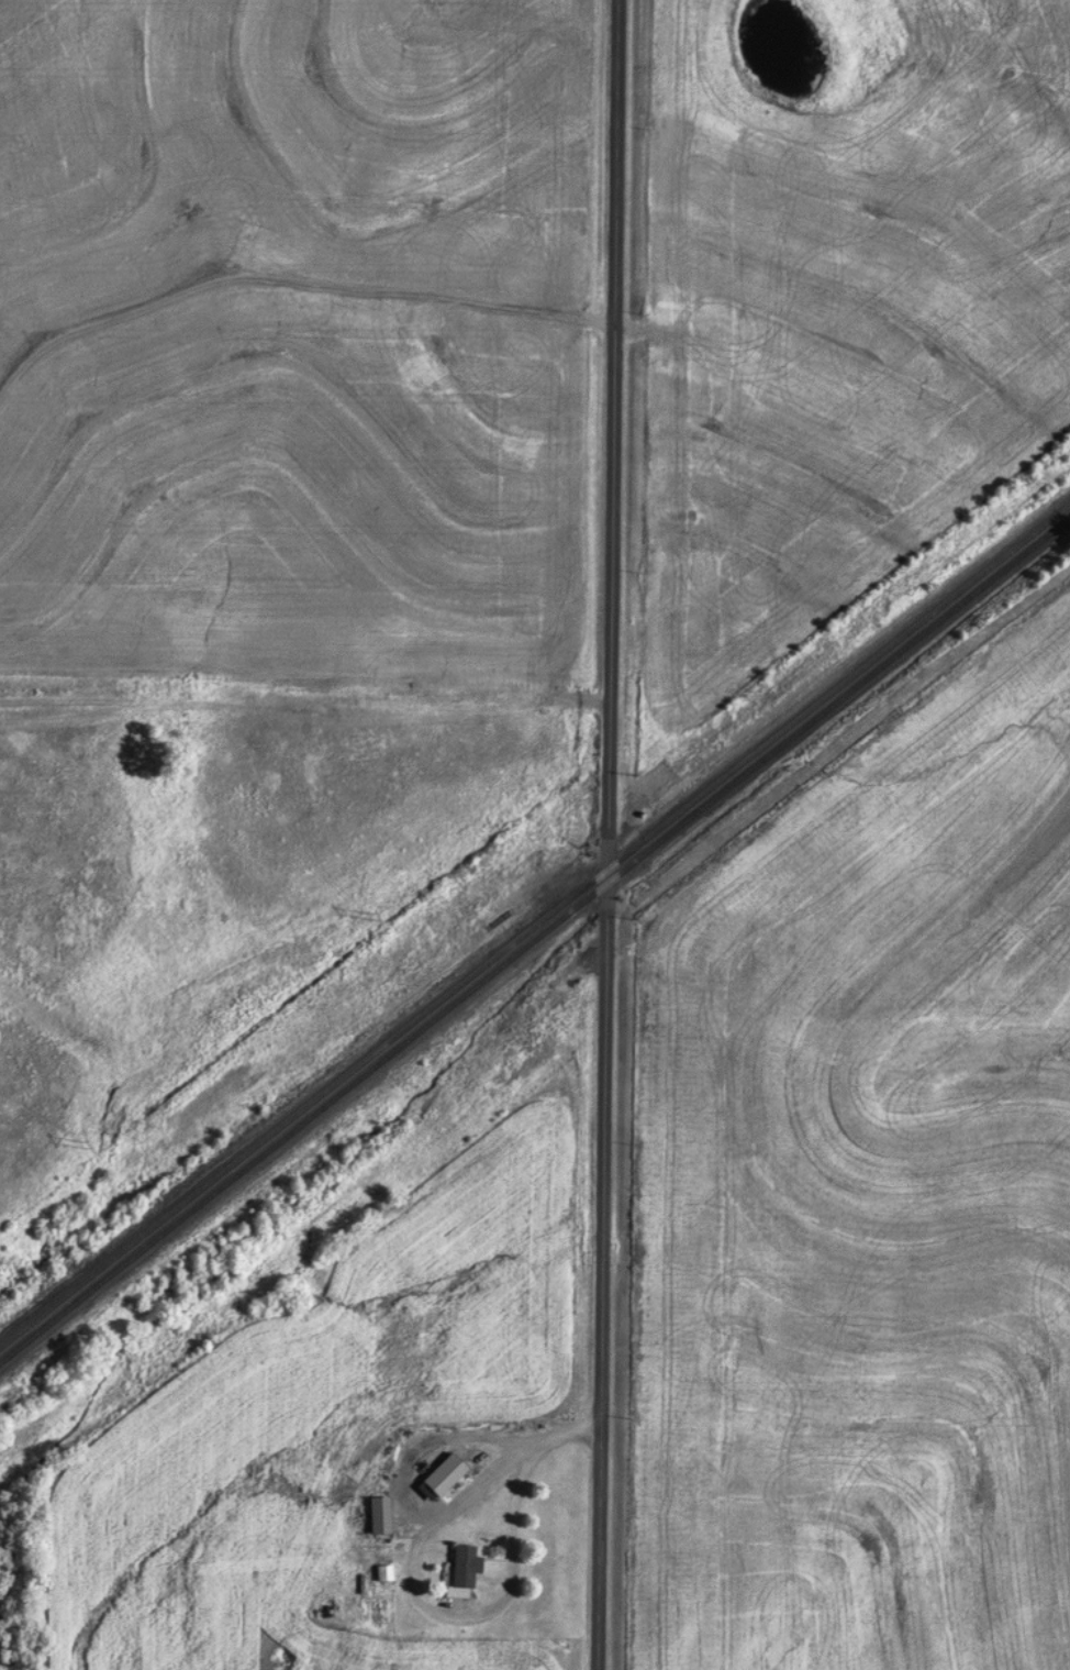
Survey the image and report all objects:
road: (304, 720)
road: (606, 834)
railway: (535, 924)
railway: (534, 938)
road: (570, 1434)
building: (441, 1474)
building: (376, 1514)
building: (461, 1564)
road: (500, 1604)

